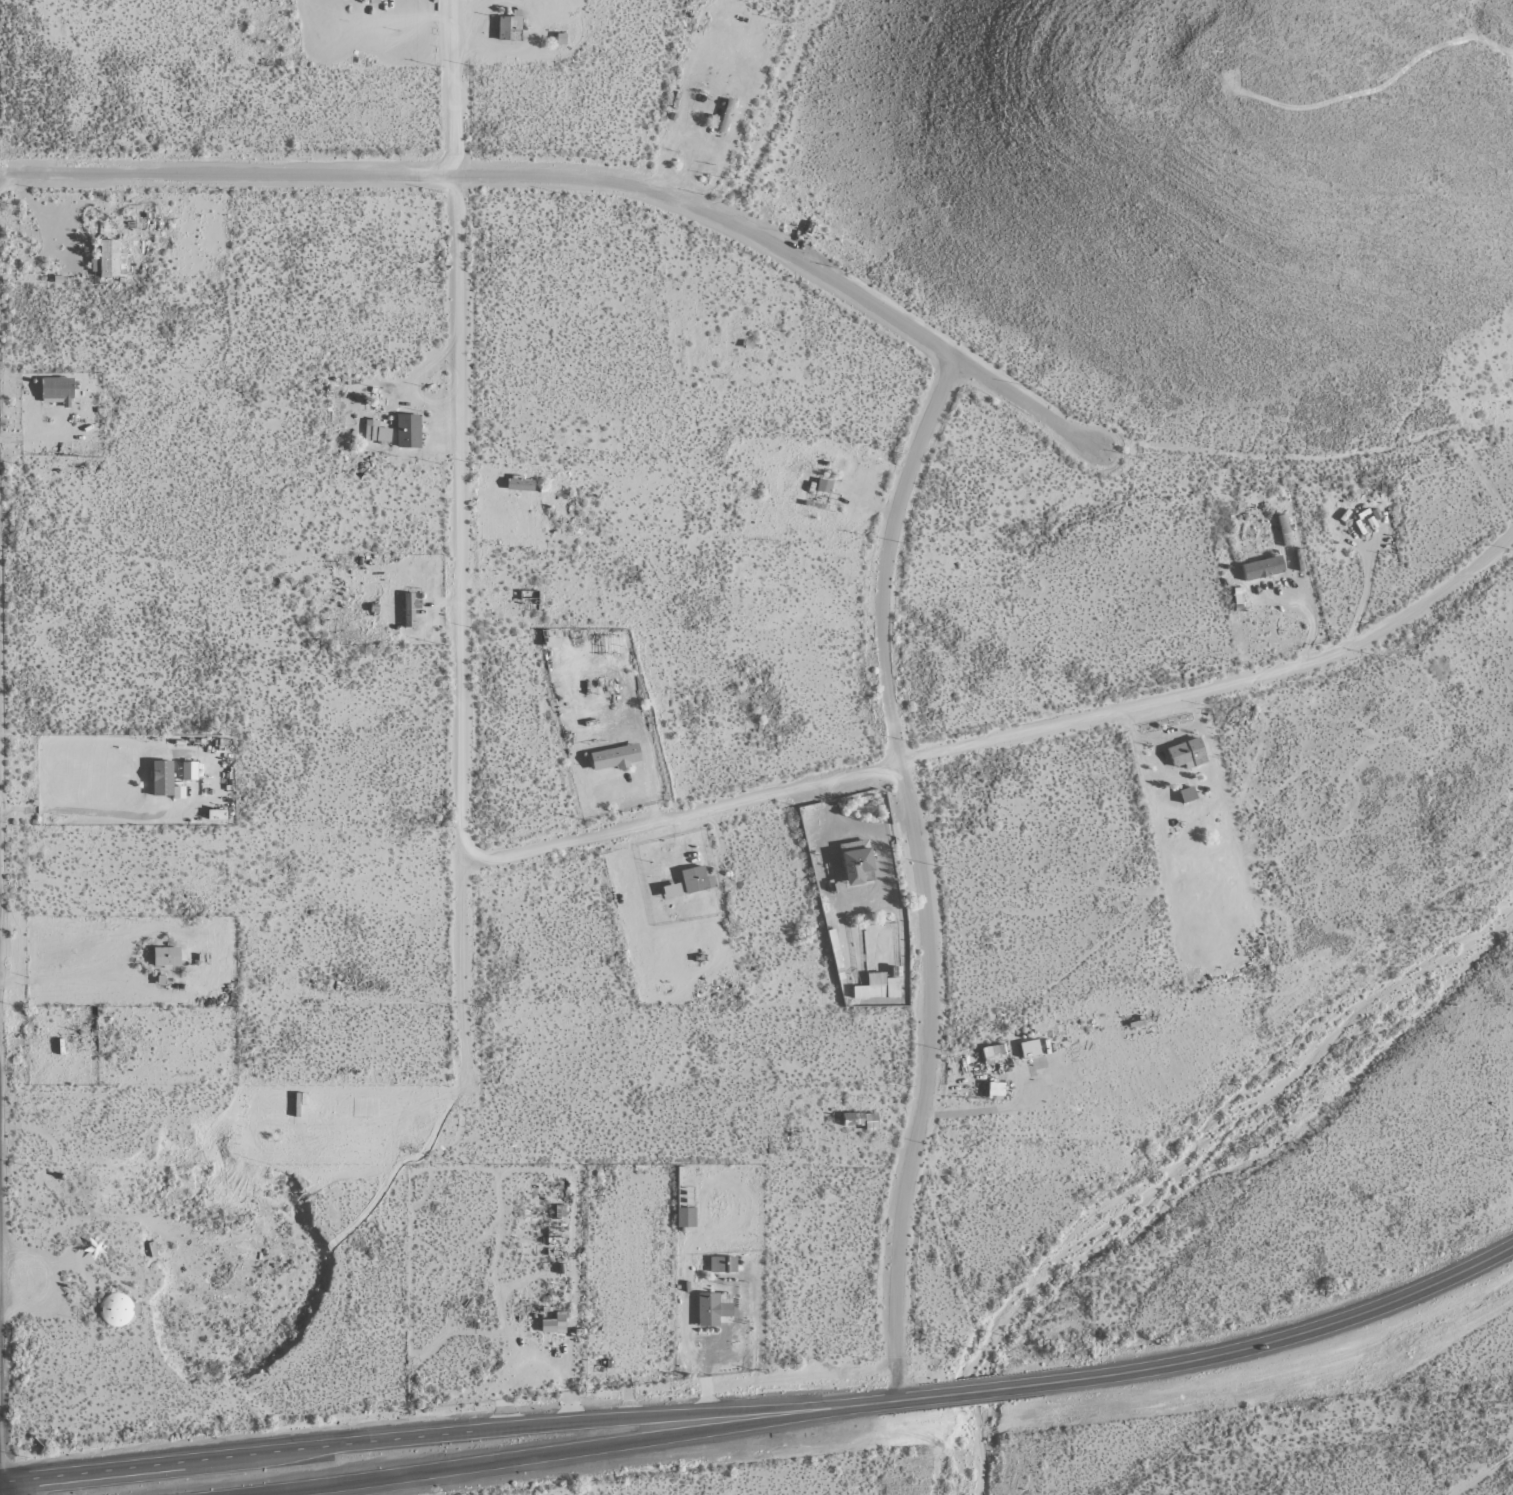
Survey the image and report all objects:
building: (507, 29)
road: (763, 126)
building: (671, 149)
road: (572, 177)
building: (108, 260)
building: (54, 390)
building: (406, 432)
building: (374, 434)
building: (870, 462)
building: (518, 486)
building: (822, 487)
road: (459, 544)
building: (1259, 570)
building: (407, 610)
road: (1003, 738)
building: (1185, 754)
building: (613, 760)
building: (187, 771)
building: (160, 779)
road: (82, 812)
building: (214, 815)
building: (857, 867)
road: (918, 874)
building: (692, 880)
building: (164, 957)
road: (75, 975)
building: (876, 988)
building: (969, 1065)
building: (854, 1120)
building: (720, 1266)
building: (709, 1311)
building: (114, 1312)
building: (557, 1323)
road: (1212, 1353)
road: (699, 1370)
road: (559, 1373)
road: (666, 1421)
road: (546, 1448)
road: (219, 1460)
road: (1481, 1474)

